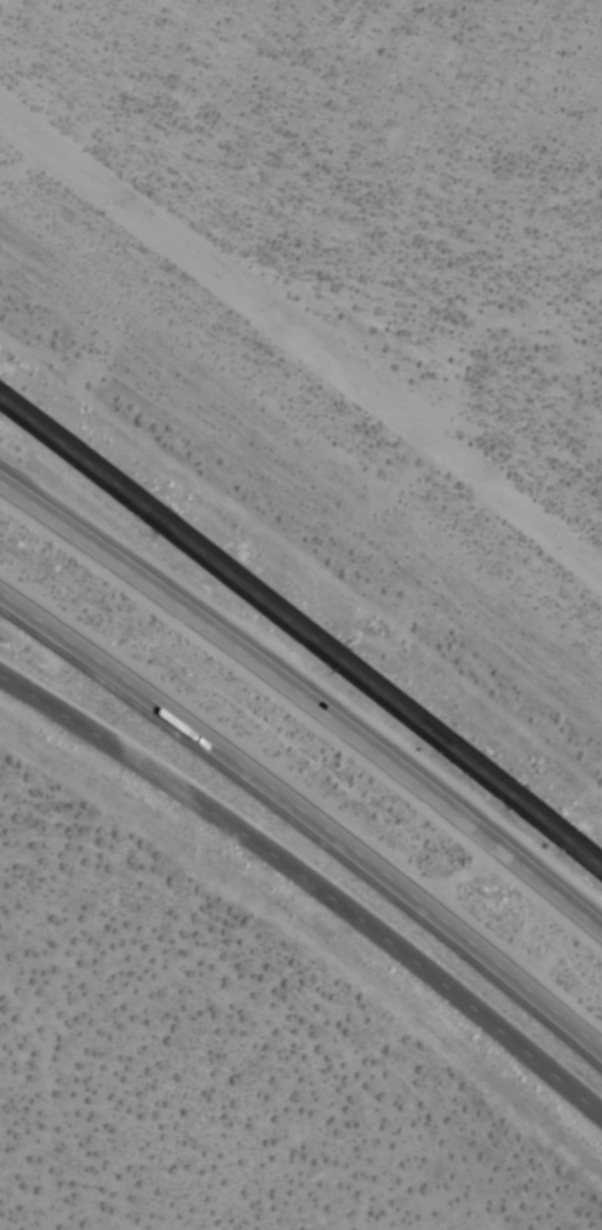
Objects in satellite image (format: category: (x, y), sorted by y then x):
crop: (339, 279)
road: (302, 631)
road: (305, 700)
road: (306, 817)
road: (311, 882)

